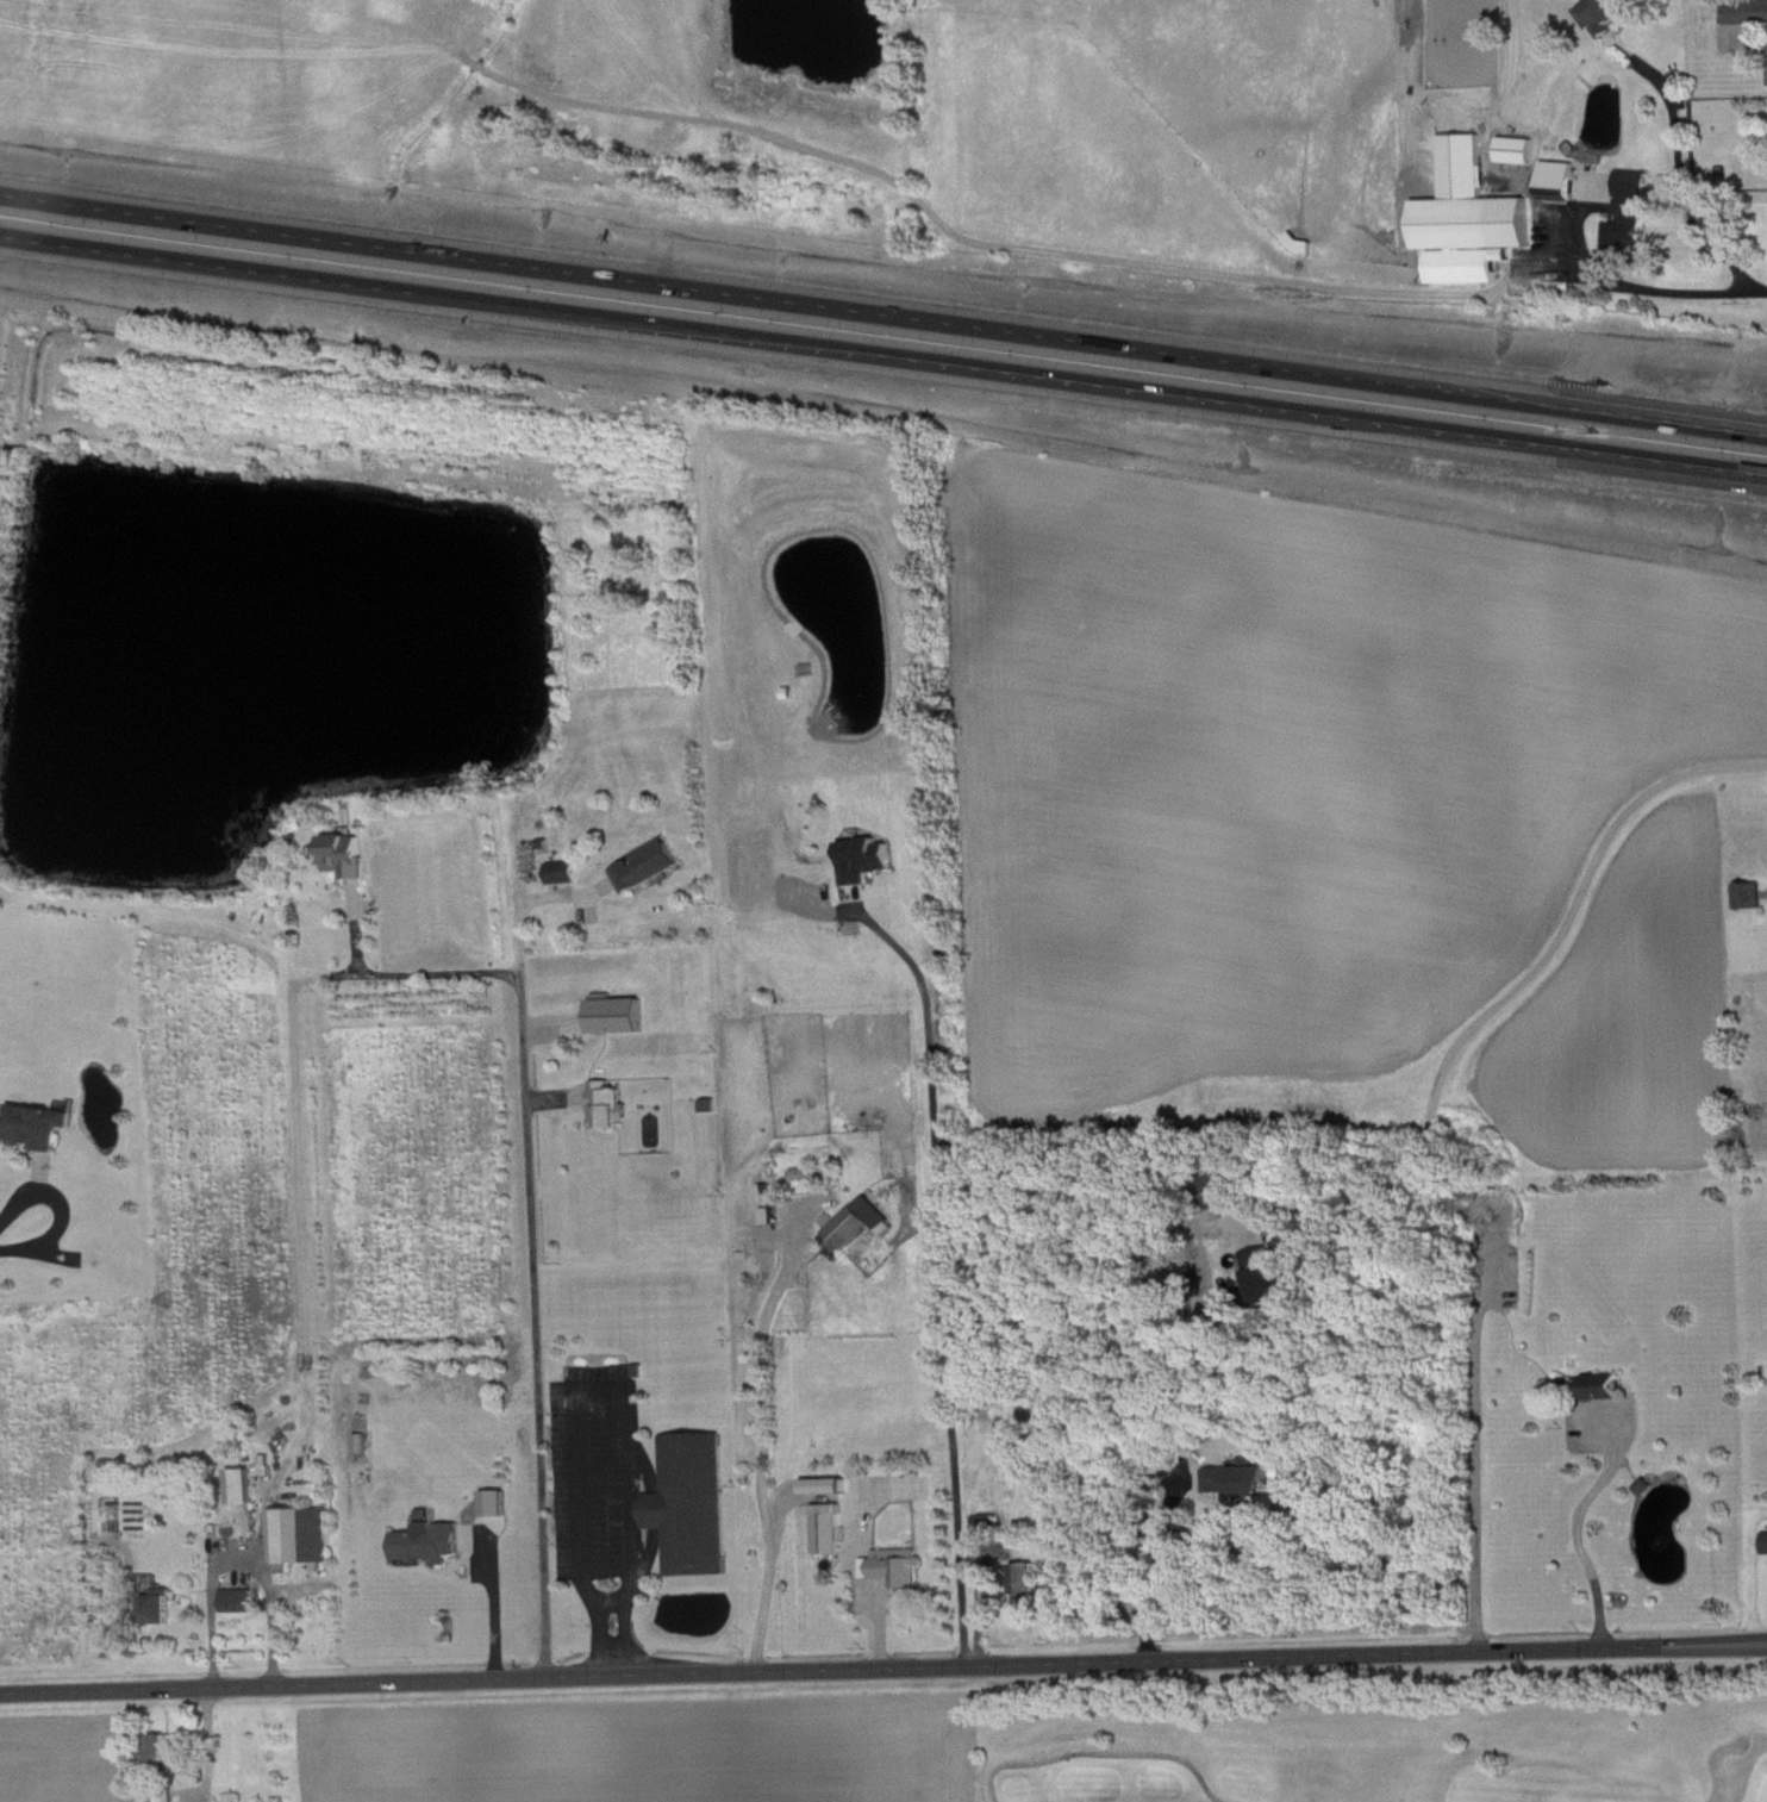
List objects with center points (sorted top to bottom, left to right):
building: (1748, 13)
building: (1612, 15)
building: (1563, 181)
road: (1685, 181)
building: (1632, 216)
building: (1475, 219)
road: (1655, 291)
road: (883, 314)
road: (883, 354)
crop: (1282, 766)
building: (541, 841)
building: (343, 853)
building: (861, 856)
building: (647, 862)
building: (561, 869)
road: (341, 881)
road: (869, 885)
building: (1746, 891)
road: (1762, 891)
road: (354, 924)
road: (425, 971)
road: (1504, 997)
building: (616, 1011)
crop: (1625, 1015)
road: (557, 1016)
road: (557, 1096)
building: (606, 1102)
building: (706, 1102)
road: (583, 1105)
building: (36, 1123)
road: (30, 1153)
road: (43, 1170)
building: (812, 1171)
building: (1224, 1184)
building: (763, 1191)
road: (64, 1208)
building: (768, 1212)
building: (856, 1220)
road: (531, 1240)
road: (48, 1252)
road: (941, 1260)
building: (1260, 1273)
building: (636, 1367)
building: (1596, 1384)
road: (625, 1392)
road: (762, 1422)
road: (644, 1464)
parking lot: (595, 1471)
road: (1474, 1471)
building: (1237, 1477)
building: (239, 1483)
building: (1640, 1483)
building: (824, 1484)
building: (687, 1502)
building: (499, 1504)
road: (654, 1508)
building: (825, 1526)
building: (984, 1526)
road: (1575, 1529)
building: (299, 1534)
building: (1763, 1540)
building: (427, 1541)
fountain: (1660, 1550)
road: (1143, 1553)
road: (647, 1558)
road: (452, 1559)
building: (891, 1564)
building: (1024, 1582)
road: (189, 1589)
road: (269, 1596)
road: (493, 1596)
building: (237, 1597)
road: (212, 1600)
building: (157, 1603)
road: (976, 1608)
road: (879, 1623)
road: (883, 1667)
road: (210, 1744)
building: (161, 1747)
crop: (647, 1748)
crop: (67, 1756)
road: (1103, 1757)
park: (1390, 1758)
building: (161, 1795)
building: (230, 1801)
building: (254, 1801)

